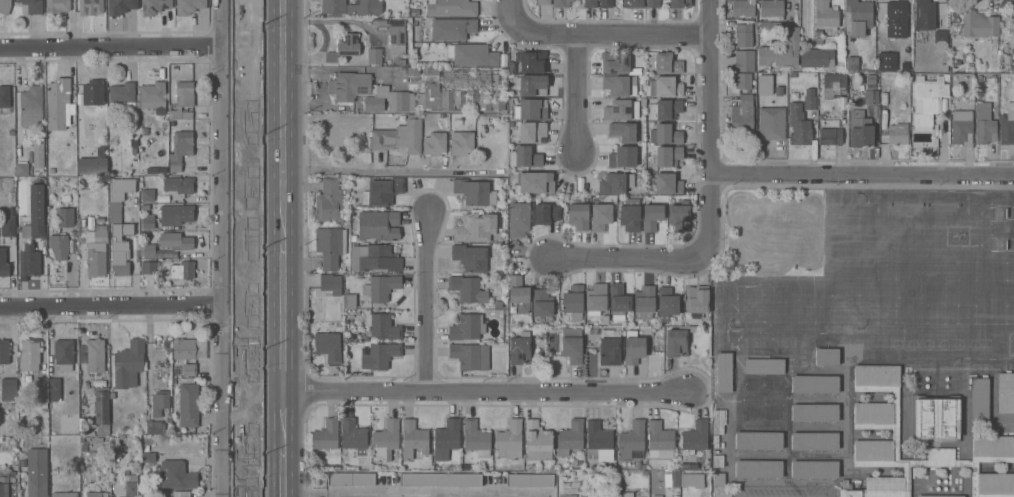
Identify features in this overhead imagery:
building: (543, 2)
building: (561, 3)
building: (590, 3)
building: (606, 3)
building: (633, 3)
building: (652, 3)
building: (680, 3)
building: (5, 6)
building: (32, 6)
building: (57, 6)
building: (92, 6)
building: (121, 6)
building: (154, 6)
building: (189, 6)
building: (351, 6)
building: (454, 7)
building: (742, 8)
building: (771, 8)
building: (896, 11)
building: (924, 14)
building: (825, 15)
building: (858, 16)
road: (514, 18)
building: (979, 24)
building: (449, 29)
road: (620, 32)
building: (744, 35)
building: (397, 36)
building: (940, 39)
building: (883, 41)
building: (344, 47)
road: (113, 50)
building: (781, 50)
building: (472, 54)
building: (374, 55)
building: (816, 57)
building: (533, 61)
building: (745, 61)
building: (615, 62)
building: (851, 63)
building: (667, 64)
building: (743, 81)
building: (833, 84)
building: (349, 85)
building: (531, 85)
building: (619, 85)
building: (665, 86)
building: (869, 88)
building: (458, 89)
building: (94, 92)
road: (576, 92)
building: (153, 95)
building: (122, 97)
building: (4, 98)
building: (389, 99)
building: (182, 100)
building: (809, 100)
building: (927, 100)
building: (58, 103)
building: (31, 106)
building: (531, 109)
building: (665, 109)
building: (621, 110)
building: (770, 110)
building: (742, 117)
building: (892, 119)
road: (283, 122)
building: (984, 124)
building: (798, 125)
building: (1007, 125)
building: (860, 128)
building: (961, 128)
road: (713, 129)
building: (623, 131)
building: (533, 132)
building: (665, 134)
building: (399, 136)
building: (830, 136)
building: (133, 142)
building: (461, 142)
building: (434, 143)
building: (180, 148)
building: (134, 150)
building: (101, 151)
building: (38, 154)
building: (668, 155)
building: (524, 157)
building: (622, 157)
building: (92, 165)
building: (22, 169)
road: (863, 169)
building: (51, 170)
building: (155, 170)
building: (163, 170)
road: (387, 171)
building: (534, 182)
building: (616, 182)
building: (667, 183)
building: (179, 184)
building: (382, 191)
building: (474, 192)
building: (148, 195)
building: (119, 197)
building: (330, 201)
building: (142, 207)
building: (35, 213)
building: (177, 213)
building: (546, 213)
building: (578, 216)
building: (601, 216)
building: (630, 216)
building: (651, 216)
building: (518, 217)
building: (678, 217)
building: (65, 218)
building: (100, 219)
building: (148, 221)
building: (8, 225)
building: (378, 225)
building: (475, 227)
building: (176, 241)
building: (59, 245)
building: (330, 246)
building: (120, 248)
road: (225, 248)
building: (96, 250)
building: (147, 250)
building: (470, 257)
building: (374, 258)
road: (630, 259)
building: (29, 260)
building: (3, 262)
building: (148, 267)
building: (182, 270)
building: (331, 283)
building: (380, 287)
building: (467, 289)
building: (518, 295)
building: (596, 298)
building: (348, 299)
building: (644, 300)
building: (697, 300)
building: (573, 301)
building: (619, 301)
building: (541, 302)
road: (428, 303)
building: (667, 303)
road: (112, 306)
road: (283, 318)
building: (383, 326)
building: (467, 327)
building: (678, 340)
building: (163, 341)
building: (571, 344)
building: (328, 346)
building: (610, 346)
building: (189, 348)
building: (520, 348)
building: (634, 349)
building: (63, 354)
building: (30, 355)
building: (94, 355)
building: (380, 355)
building: (470, 356)
building: (827, 356)
building: (129, 364)
building: (764, 366)
building: (189, 369)
building: (0, 370)
building: (724, 372)
building: (27, 379)
building: (764, 383)
building: (814, 384)
building: (105, 385)
building: (41, 386)
building: (55, 389)
building: (87, 390)
road: (484, 391)
building: (1006, 392)
building: (979, 401)
building: (159, 404)
building: (53, 405)
building: (189, 405)
building: (102, 412)
building: (763, 412)
building: (815, 412)
building: (936, 418)
building: (719, 421)
building: (84, 424)
building: (154, 427)
building: (895, 432)
building: (353, 435)
building: (571, 435)
building: (695, 437)
building: (327, 438)
building: (413, 438)
building: (476, 438)
building: (510, 438)
building: (446, 439)
building: (385, 440)
building: (660, 440)
building: (759, 440)
building: (815, 440)
road: (283, 441)
building: (537, 441)
building: (598, 441)
building: (631, 441)
building: (0, 443)
building: (146, 447)
building: (148, 457)
building: (23, 460)
building: (758, 468)
building: (814, 469)
building: (37, 472)
building: (176, 475)
building: (133, 477)
building: (351, 479)
building: (441, 479)
building: (718, 479)
building: (530, 480)
building: (692, 480)
building: (7, 485)
building: (131, 489)
road: (419, 492)
building: (64, 494)
building: (96, 494)
building: (181, 494)
road: (283, 494)
building: (627, 494)
building: (567, 495)
building: (609, 496)
building: (656, 496)
building: (940, 496)

